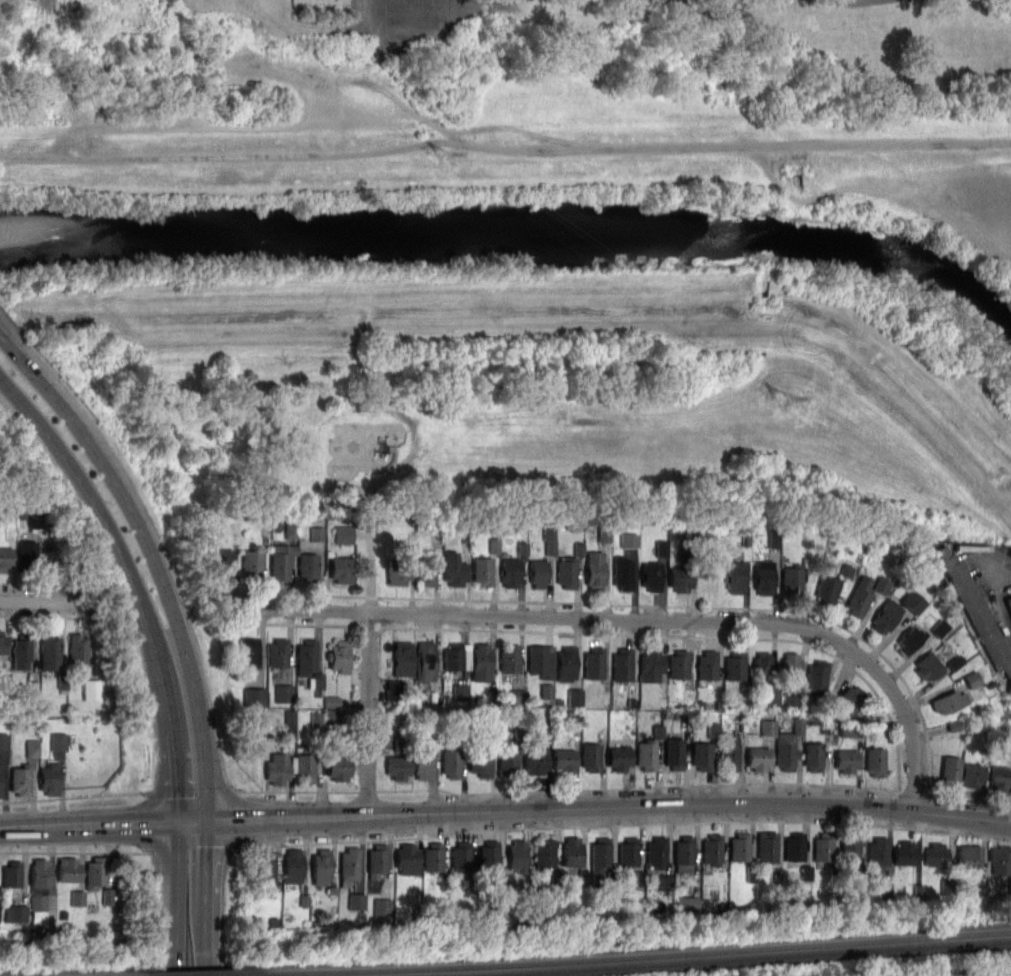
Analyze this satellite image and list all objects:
road: (843, 1)
park: (497, 86)
river: (516, 237)
park: (535, 392)
building: (36, 518)
building: (291, 527)
building: (317, 531)
building: (345, 533)
building: (774, 536)
building: (630, 537)
building: (550, 538)
building: (494, 543)
building: (662, 547)
building: (28, 554)
road: (152, 557)
building: (5, 558)
building: (281, 561)
building: (223, 563)
building: (252, 564)
building: (308, 566)
building: (425, 567)
building: (455, 569)
building: (342, 570)
building: (482, 570)
building: (594, 570)
building: (398, 571)
building: (566, 571)
building: (510, 572)
building: (538, 572)
building: (622, 572)
building: (650, 574)
building: (763, 576)
building: (735, 577)
building: (680, 578)
building: (792, 579)
parking lot: (990, 580)
road: (134, 581)
building: (826, 588)
road: (990, 588)
building: (860, 596)
building: (914, 600)
road: (50, 601)
building: (1008, 603)
building: (975, 609)
building: (885, 615)
road: (625, 618)
building: (941, 626)
building: (909, 639)
building: (3, 643)
building: (49, 650)
building: (78, 650)
building: (21, 651)
building: (249, 651)
building: (277, 652)
building: (339, 655)
building: (306, 657)
building: (455, 657)
building: (402, 658)
building: (509, 658)
building: (957, 660)
building: (424, 661)
building: (541, 661)
building: (481, 663)
building: (565, 663)
building: (594, 663)
building: (621, 664)
building: (678, 664)
building: (707, 664)
building: (650, 665)
building: (734, 665)
building: (927, 665)
building: (790, 667)
road: (368, 672)
building: (765, 674)
parking lot: (1009, 675)
building: (974, 677)
building: (63, 682)
building: (816, 683)
building: (1009, 685)
building: (91, 687)
building: (394, 689)
building: (547, 689)
building: (460, 690)
building: (283, 692)
building: (575, 693)
building: (255, 695)
building: (851, 698)
building: (948, 701)
building: (769, 725)
building: (712, 728)
building: (848, 729)
building: (4, 739)
building: (58, 740)
building: (788, 745)
building: (32, 746)
building: (648, 749)
building: (729, 751)
building: (673, 752)
building: (701, 755)
building: (590, 756)
building: (812, 756)
building: (758, 757)
building: (535, 758)
building: (618, 758)
building: (508, 760)
building: (564, 760)
building: (846, 760)
building: (875, 761)
building: (423, 762)
building: (450, 762)
building: (480, 764)
building: (397, 766)
building: (304, 767)
building: (338, 767)
building: (277, 768)
building: (950, 769)
building: (0, 774)
building: (971, 774)
building: (999, 777)
building: (49, 778)
building: (20, 779)
traffic signals: (179, 796)
road: (591, 807)
traffic signals: (243, 820)
road: (1007, 821)
traffic signals: (160, 823)
road: (623, 823)
road: (121, 824)
road: (31, 827)
traffic signals: (207, 842)
road: (231, 845)
building: (767, 846)
building: (795, 846)
building: (822, 846)
building: (739, 847)
building: (712, 849)
building: (849, 851)
building: (571, 852)
building: (628, 852)
building: (656, 852)
building: (683, 852)
building: (878, 852)
building: (544, 853)
building: (906, 853)
building: (488, 854)
building: (516, 854)
building: (935, 854)
building: (460, 855)
building: (432, 856)
building: (969, 856)
building: (406, 858)
building: (599, 859)
building: (1000, 859)
building: (376, 861)
building: (292, 865)
building: (349, 865)
building: (321, 866)
building: (68, 869)
building: (264, 870)
building: (95, 871)
building: (808, 871)
building: (11, 874)
building: (638, 877)
building: (665, 880)
building: (38, 882)
building: (109, 895)
building: (78, 896)
road: (206, 898)
road: (178, 899)
building: (357, 900)
building: (686, 901)
building: (0, 904)
building: (381, 904)
building: (16, 912)
railway: (620, 956)
railway: (722, 958)
parking lot: (967, 974)
railway: (190, 975)

